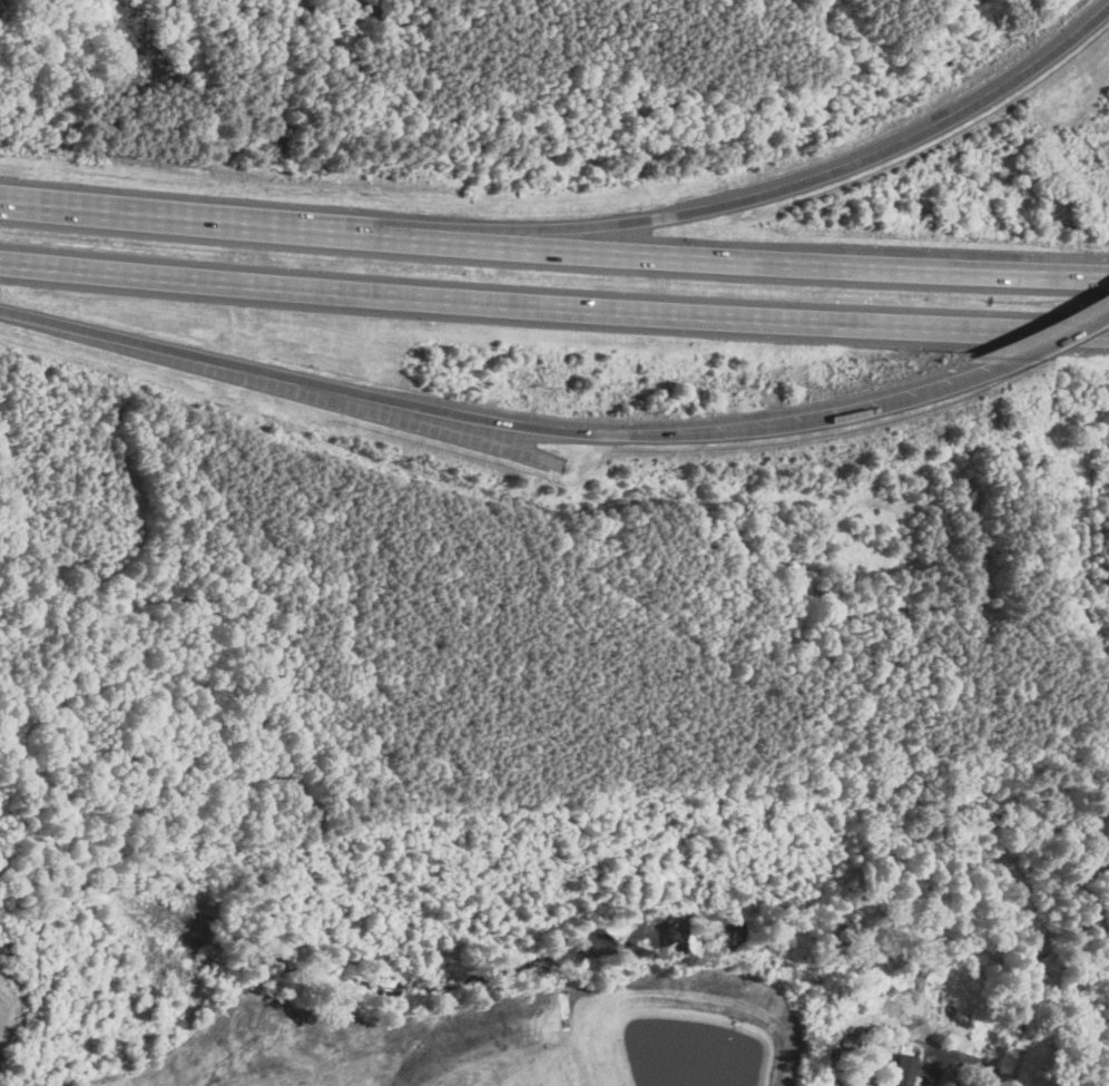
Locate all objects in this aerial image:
road: (779, 188)
road: (553, 248)
road: (553, 306)
road: (1056, 332)
road: (500, 421)
road: (1028, 978)
road: (929, 1045)
building: (903, 1069)

